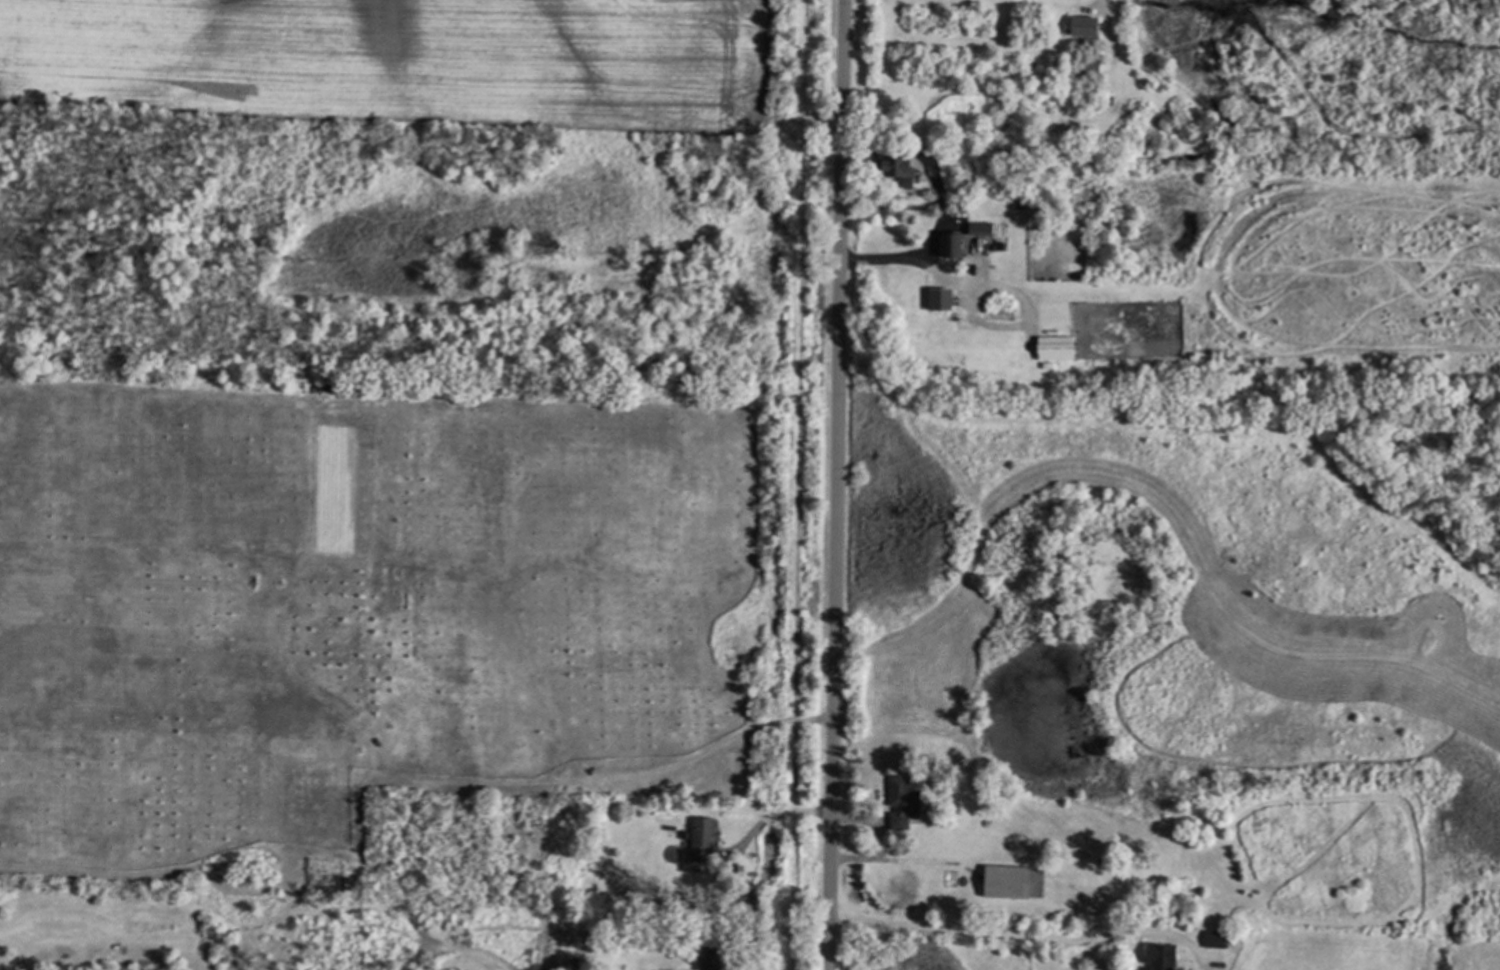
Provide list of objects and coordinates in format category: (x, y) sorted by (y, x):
building: (1082, 27)
crop: (403, 62)
building: (1089, 67)
building: (897, 165)
road: (932, 172)
building: (955, 173)
building: (1022, 206)
building: (983, 229)
building: (954, 245)
road: (939, 277)
building: (938, 299)
building: (1058, 348)
road: (836, 484)
building: (904, 802)
road: (770, 818)
building: (704, 838)
building: (1015, 882)
road: (1023, 937)
building: (1218, 939)
crop: (1362, 951)
building: (717, 954)
building: (1163, 956)

